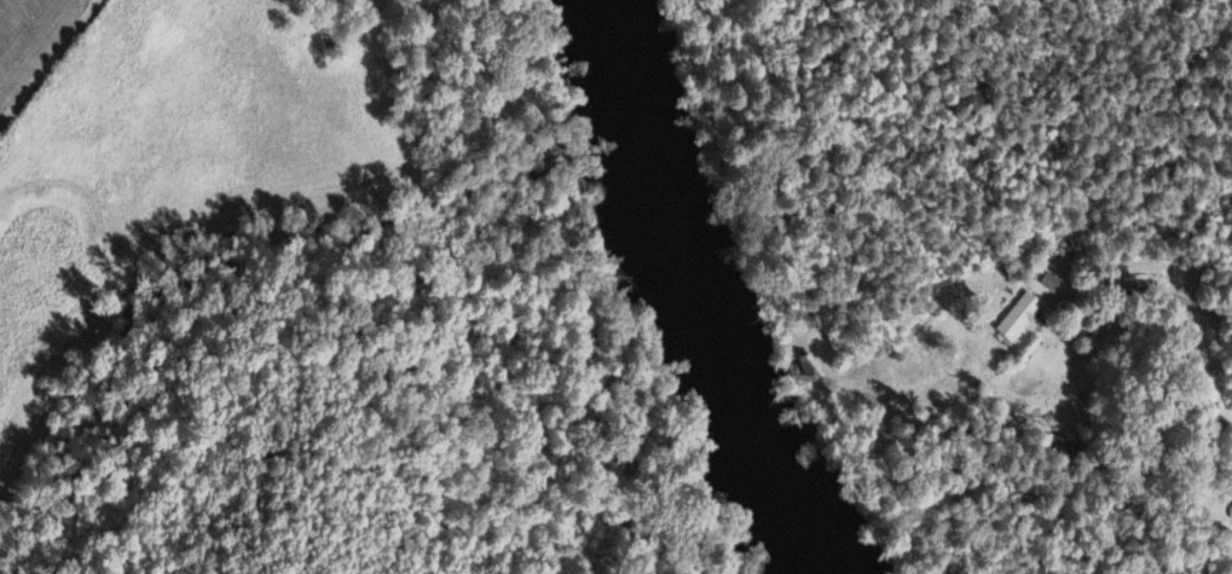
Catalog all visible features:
road: (47, 59)
building: (1051, 282)
road: (1150, 292)
river: (710, 295)
building: (1022, 317)

